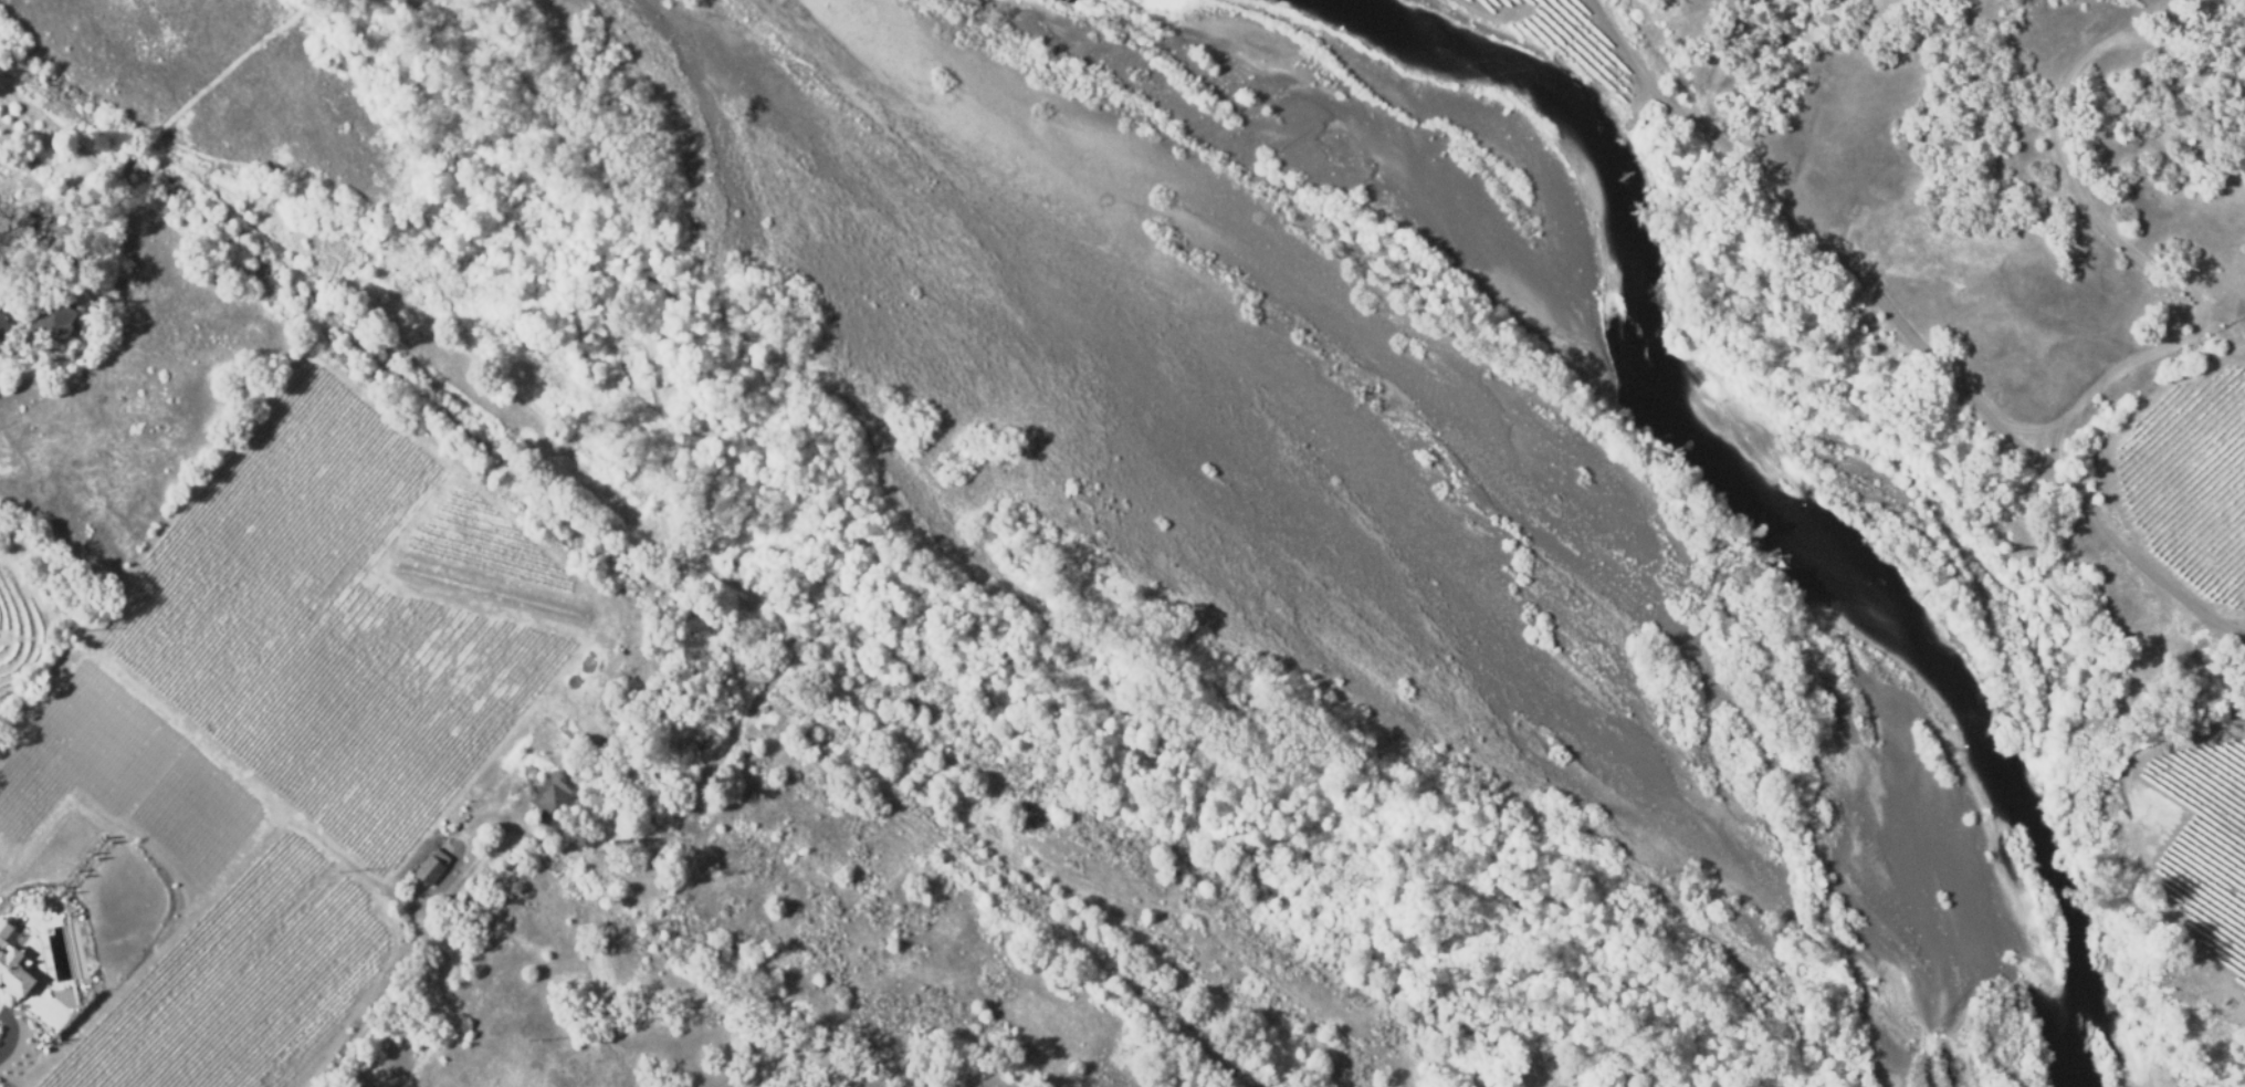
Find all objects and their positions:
road: (2074, 187)
building: (49, 324)
river: (1767, 421)
railway: (625, 565)
building: (550, 804)
building: (428, 870)
building: (1, 936)
building: (10, 982)
road: (366, 1010)
road: (17, 1033)

